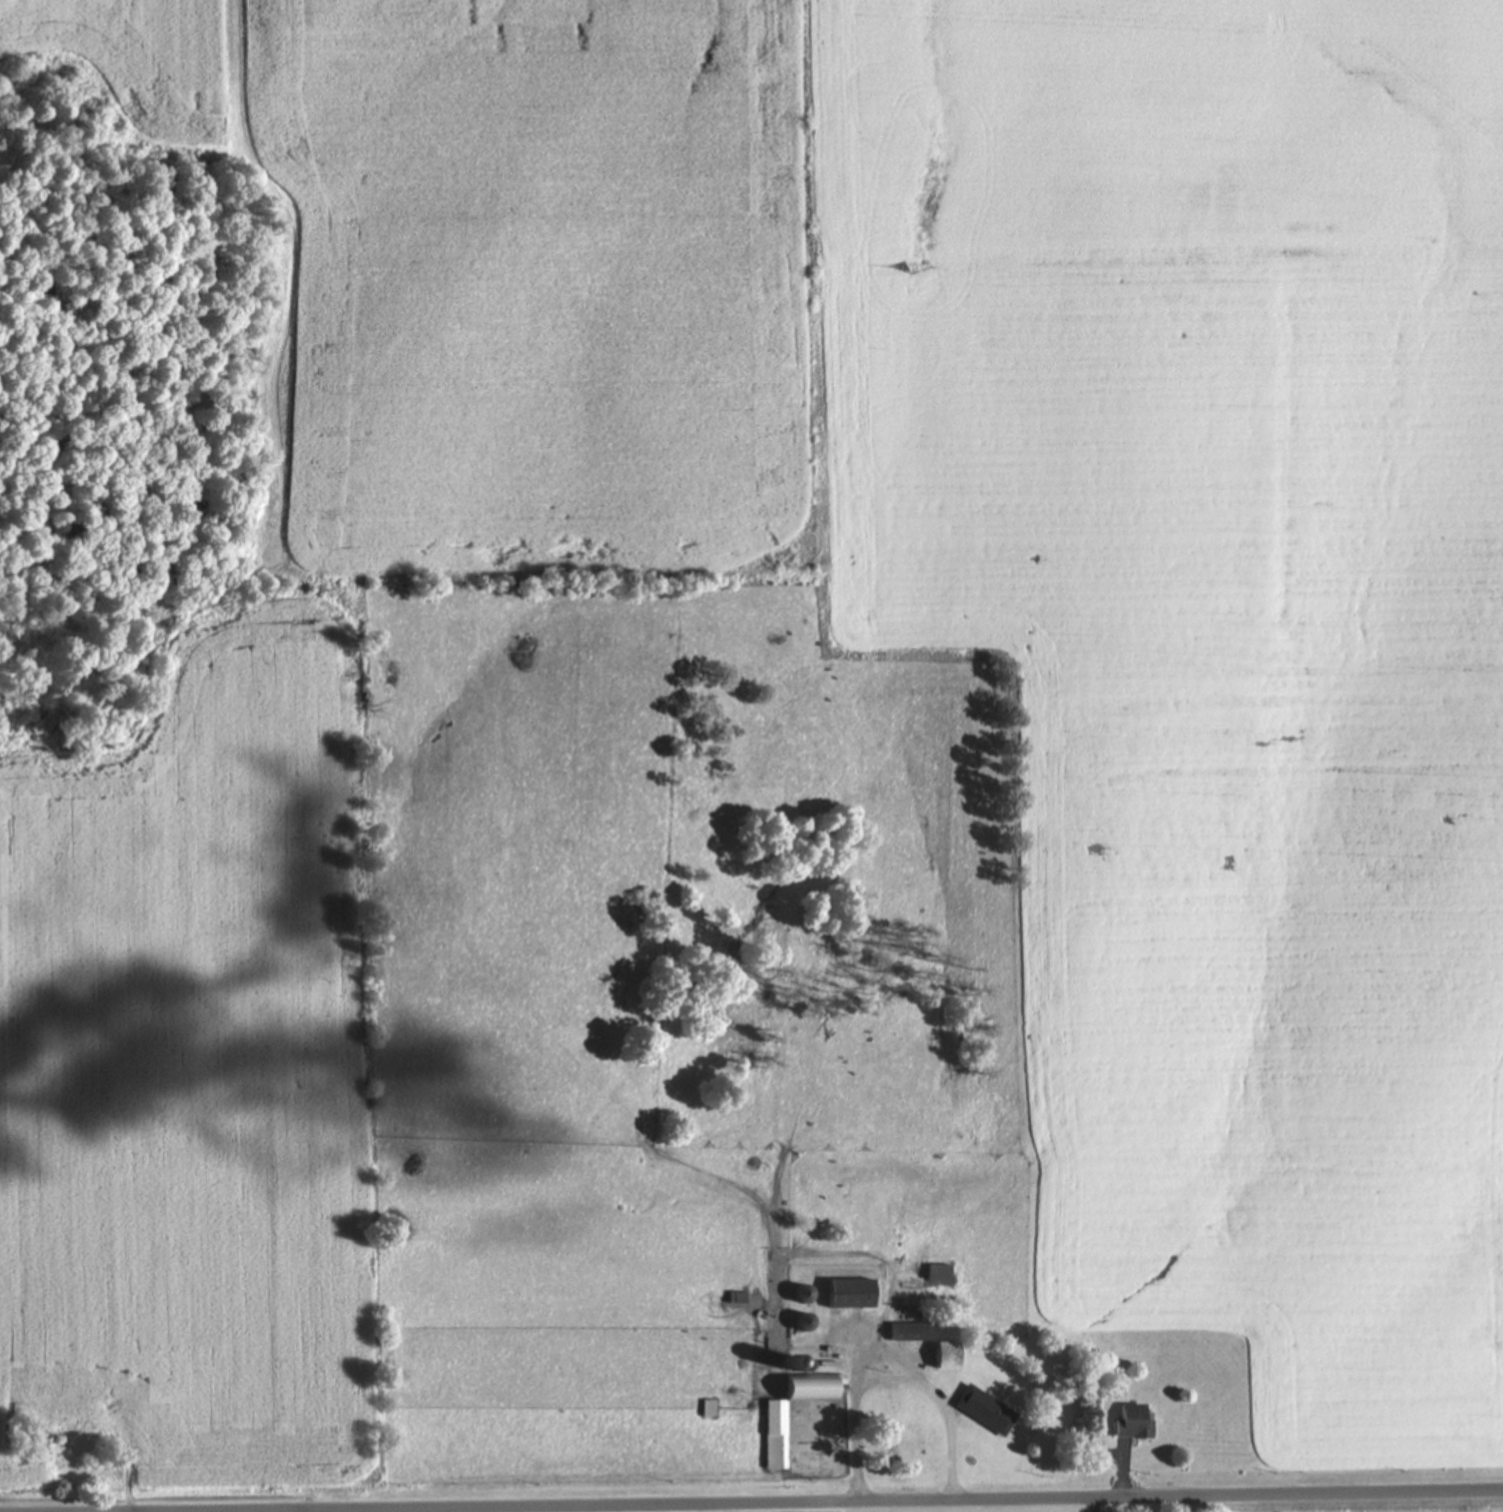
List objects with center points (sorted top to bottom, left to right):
building: (939, 1270)
building: (851, 1291)
building: (803, 1292)
building: (737, 1295)
building: (804, 1320)
building: (912, 1330)
building: (947, 1353)
building: (707, 1406)
building: (986, 1408)
building: (1133, 1420)
building: (776, 1433)
road: (918, 1503)

